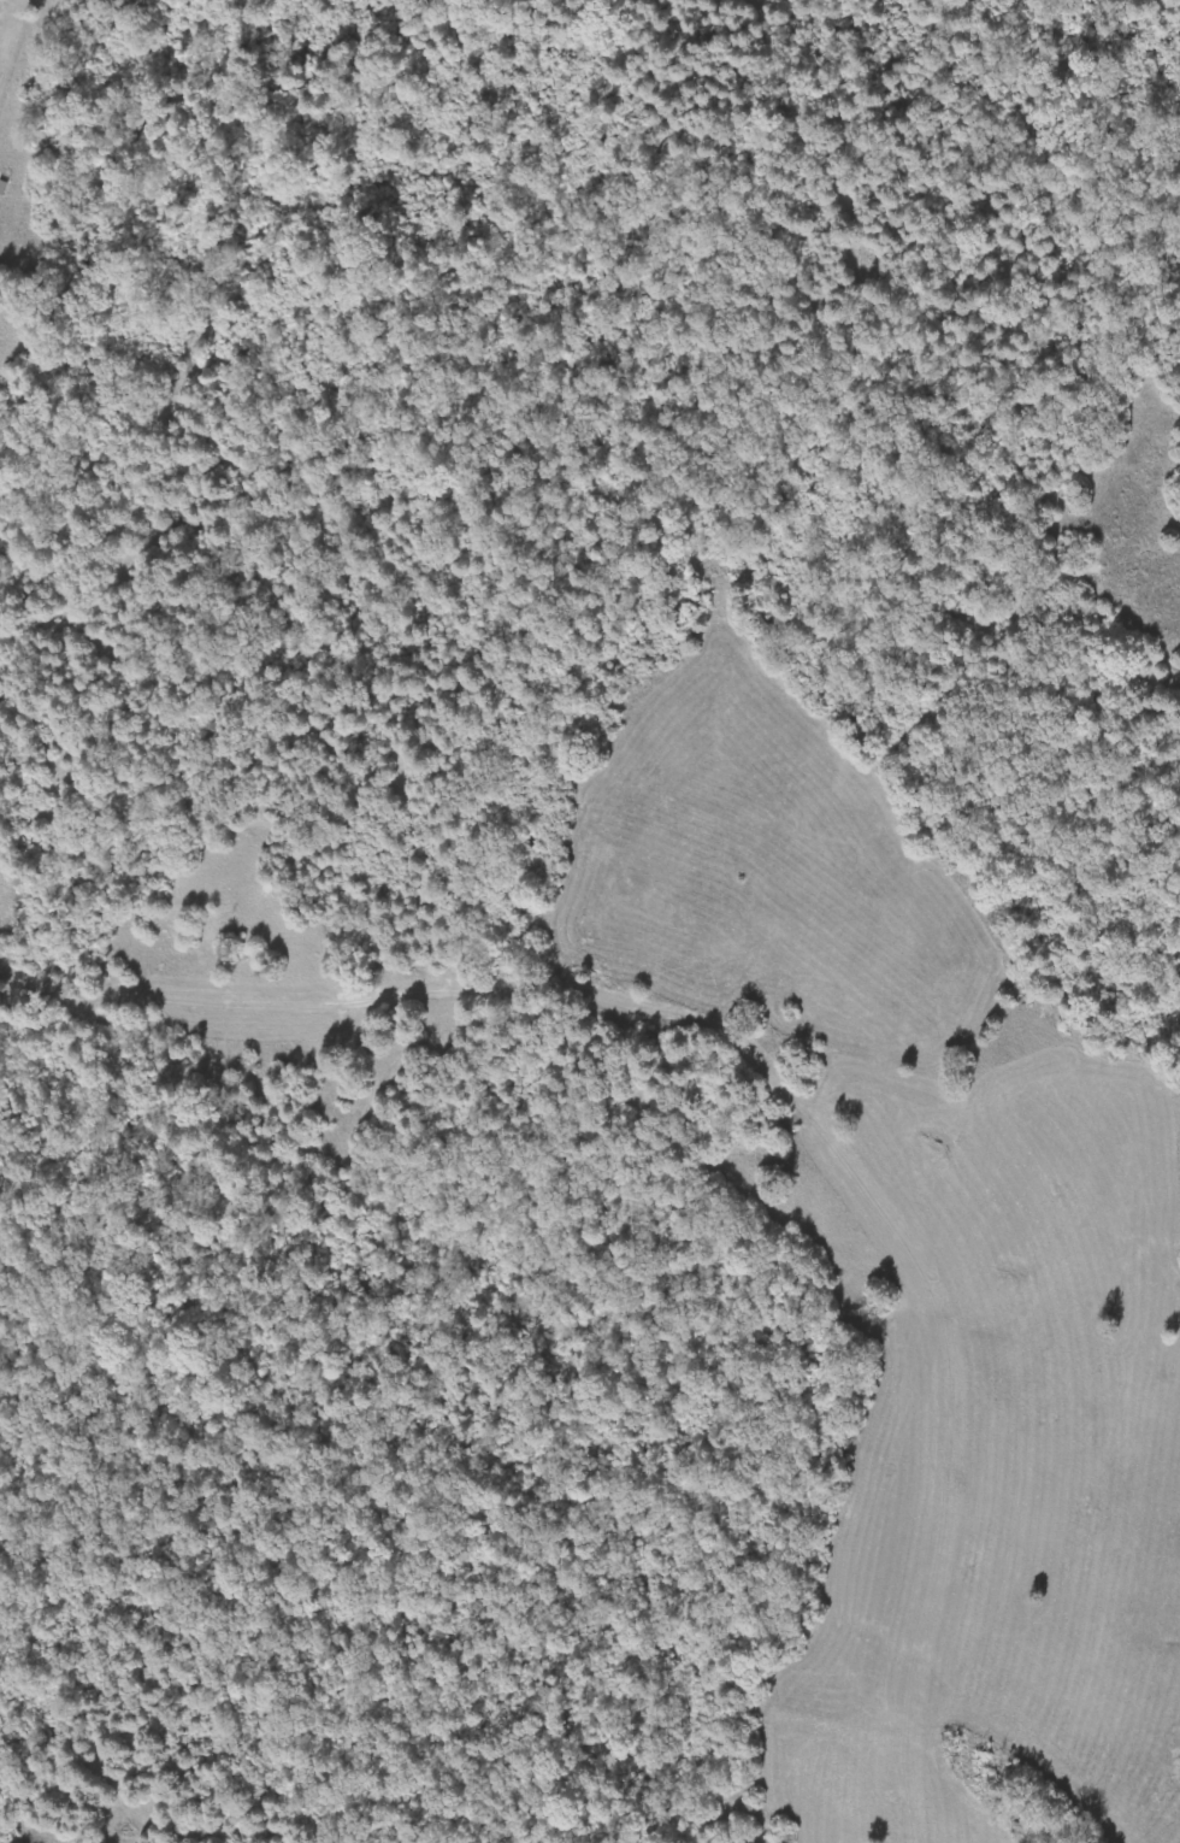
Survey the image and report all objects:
road: (61, 86)

